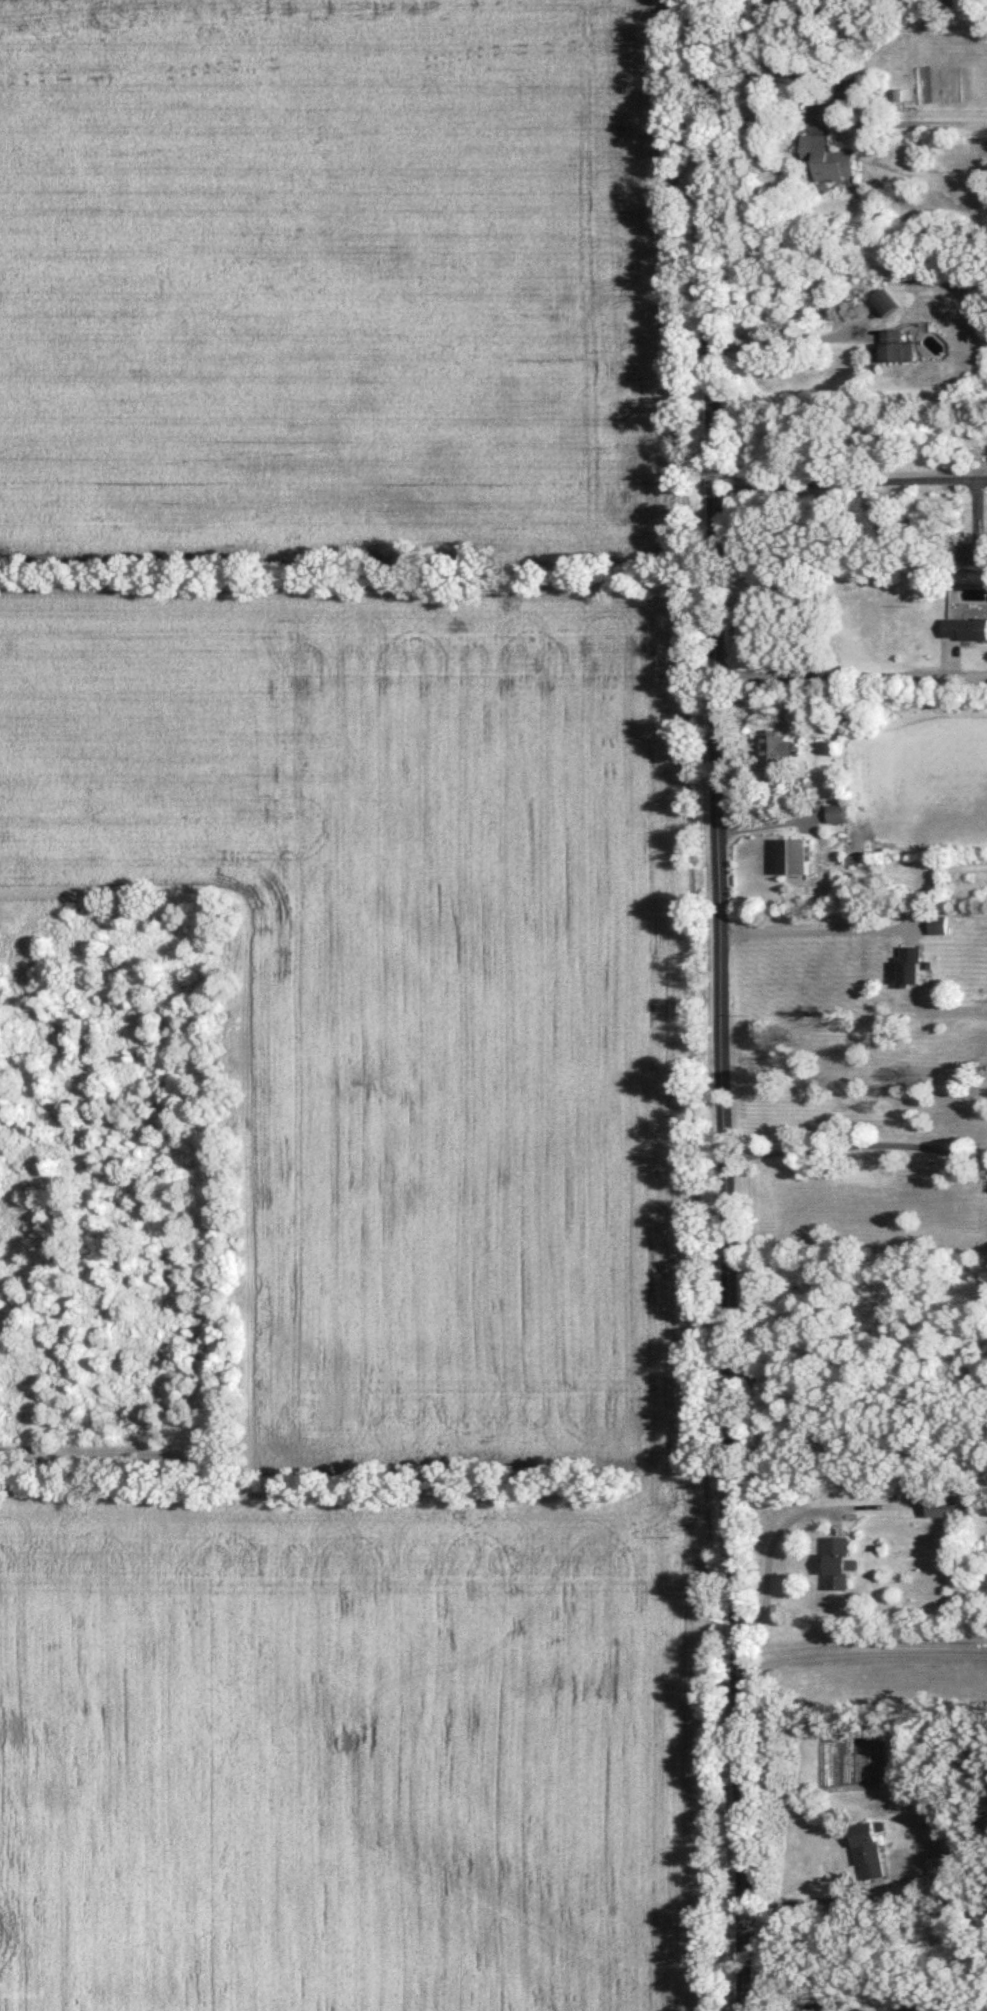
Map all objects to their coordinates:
road: (786, 74)
building: (831, 157)
building: (884, 301)
road: (783, 340)
building: (890, 346)
building: (907, 350)
road: (849, 481)
building: (973, 552)
building: (965, 627)
road: (851, 675)
building: (778, 745)
building: (836, 812)
road: (768, 824)
building: (795, 855)
building: (940, 924)
road: (814, 931)
building: (912, 964)
road: (721, 1005)
road: (856, 1143)
road: (845, 1449)
building: (947, 1505)
road: (771, 1557)
building: (839, 1561)
road: (860, 1654)
building: (867, 1849)
road: (808, 1903)

